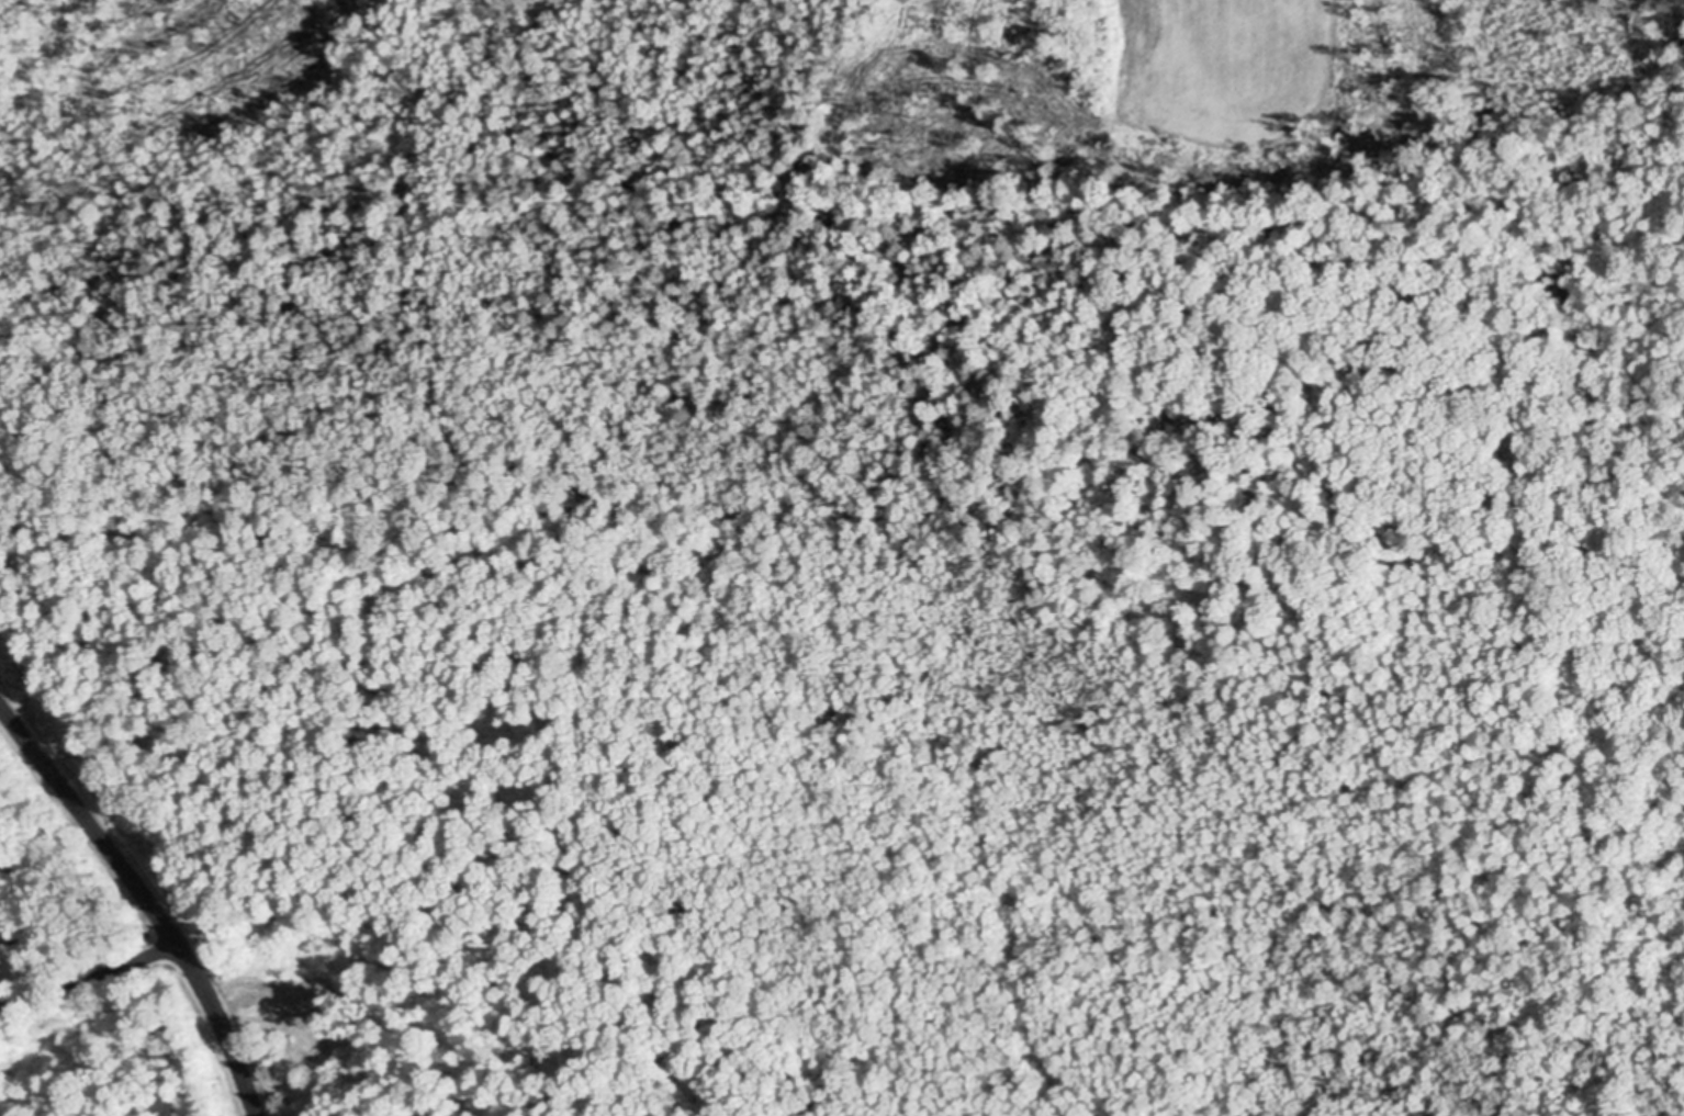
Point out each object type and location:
road: (145, 899)
road: (2, 921)
road: (2, 922)
road: (85, 976)

